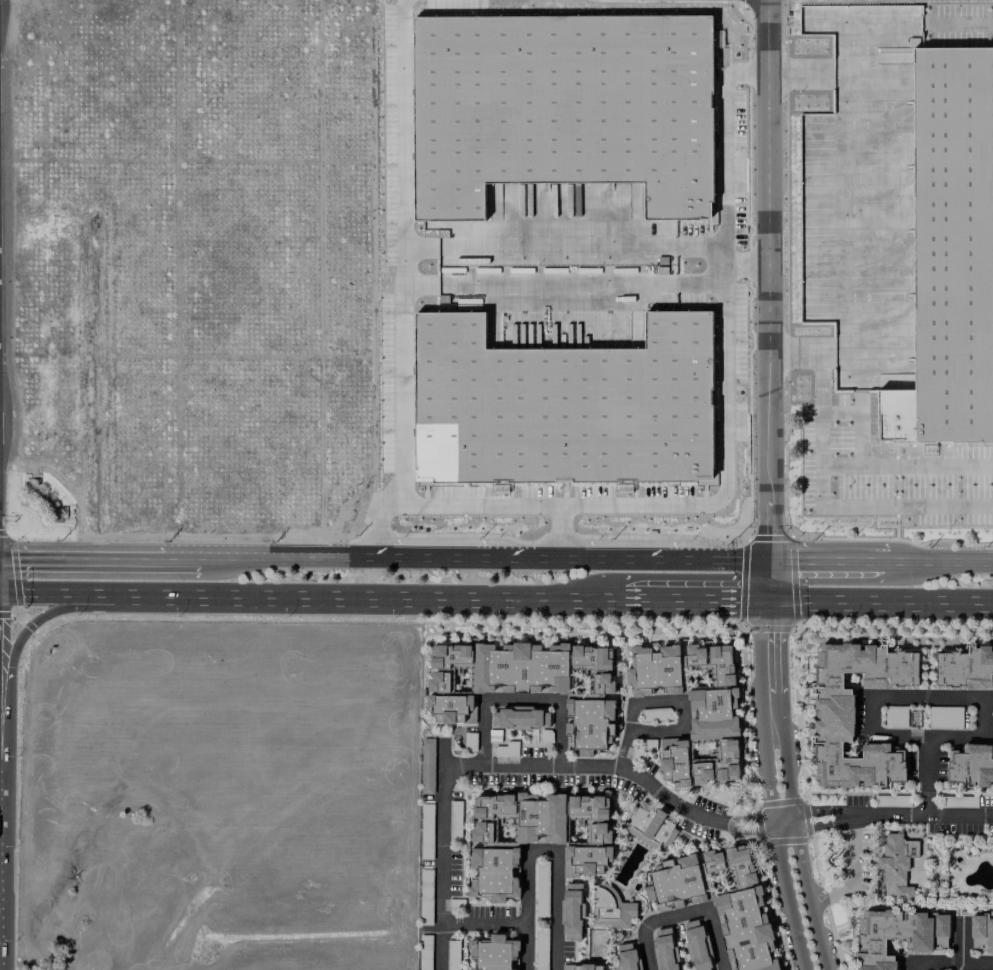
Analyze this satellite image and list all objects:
road: (963, 20)
road: (796, 68)
building: (565, 98)
road: (405, 122)
road: (729, 147)
building: (951, 242)
road: (561, 245)
road: (723, 257)
road: (534, 284)
road: (767, 300)
building: (564, 395)
road: (405, 426)
road: (829, 462)
road: (682, 502)
road: (565, 529)
road: (504, 557)
road: (81, 558)
road: (181, 558)
road: (286, 558)
road: (886, 559)
road: (941, 559)
road: (702, 560)
road: (825, 561)
road: (311, 595)
road: (695, 598)
traffic signals: (768, 602)
road: (880, 603)
road: (33, 622)
road: (769, 650)
building: (965, 668)
building: (654, 671)
building: (527, 684)
road: (964, 698)
road: (520, 701)
road: (661, 703)
building: (836, 714)
building: (519, 718)
building: (705, 723)
building: (427, 766)
building: (970, 766)
road: (625, 771)
road: (921, 815)
road: (850, 816)
building: (649, 826)
road: (775, 834)
road: (796, 834)
building: (534, 837)
road: (441, 853)
road: (557, 860)
building: (896, 865)
road: (851, 871)
building: (675, 883)
building: (611, 907)
building: (572, 912)
building: (741, 912)
road: (684, 915)
road: (483, 923)
building: (981, 933)
building: (898, 935)
road: (962, 940)
building: (697, 944)
road: (525, 946)
building: (665, 950)
building: (493, 952)
building: (627, 956)
road: (952, 963)
building: (581, 967)

